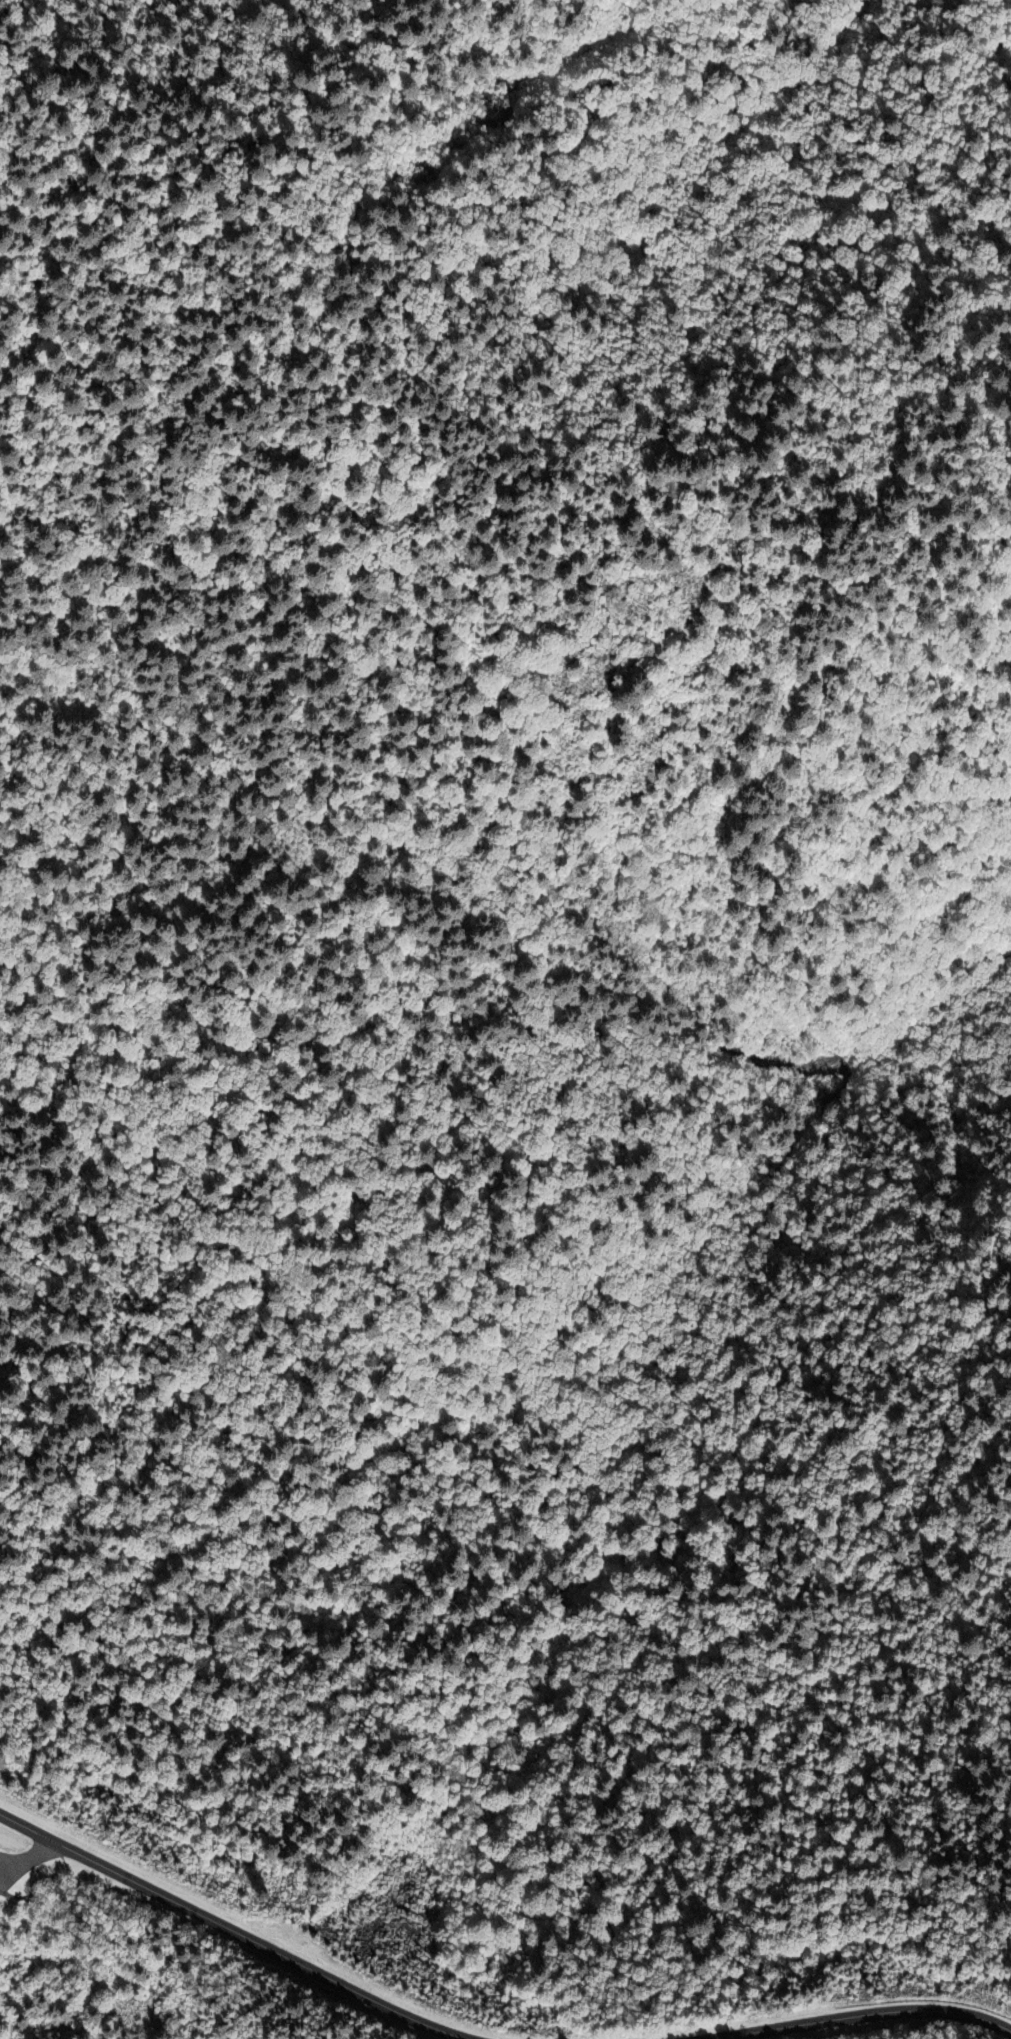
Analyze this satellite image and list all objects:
road: (29, 1857)
road: (227, 1930)
road: (845, 2017)

